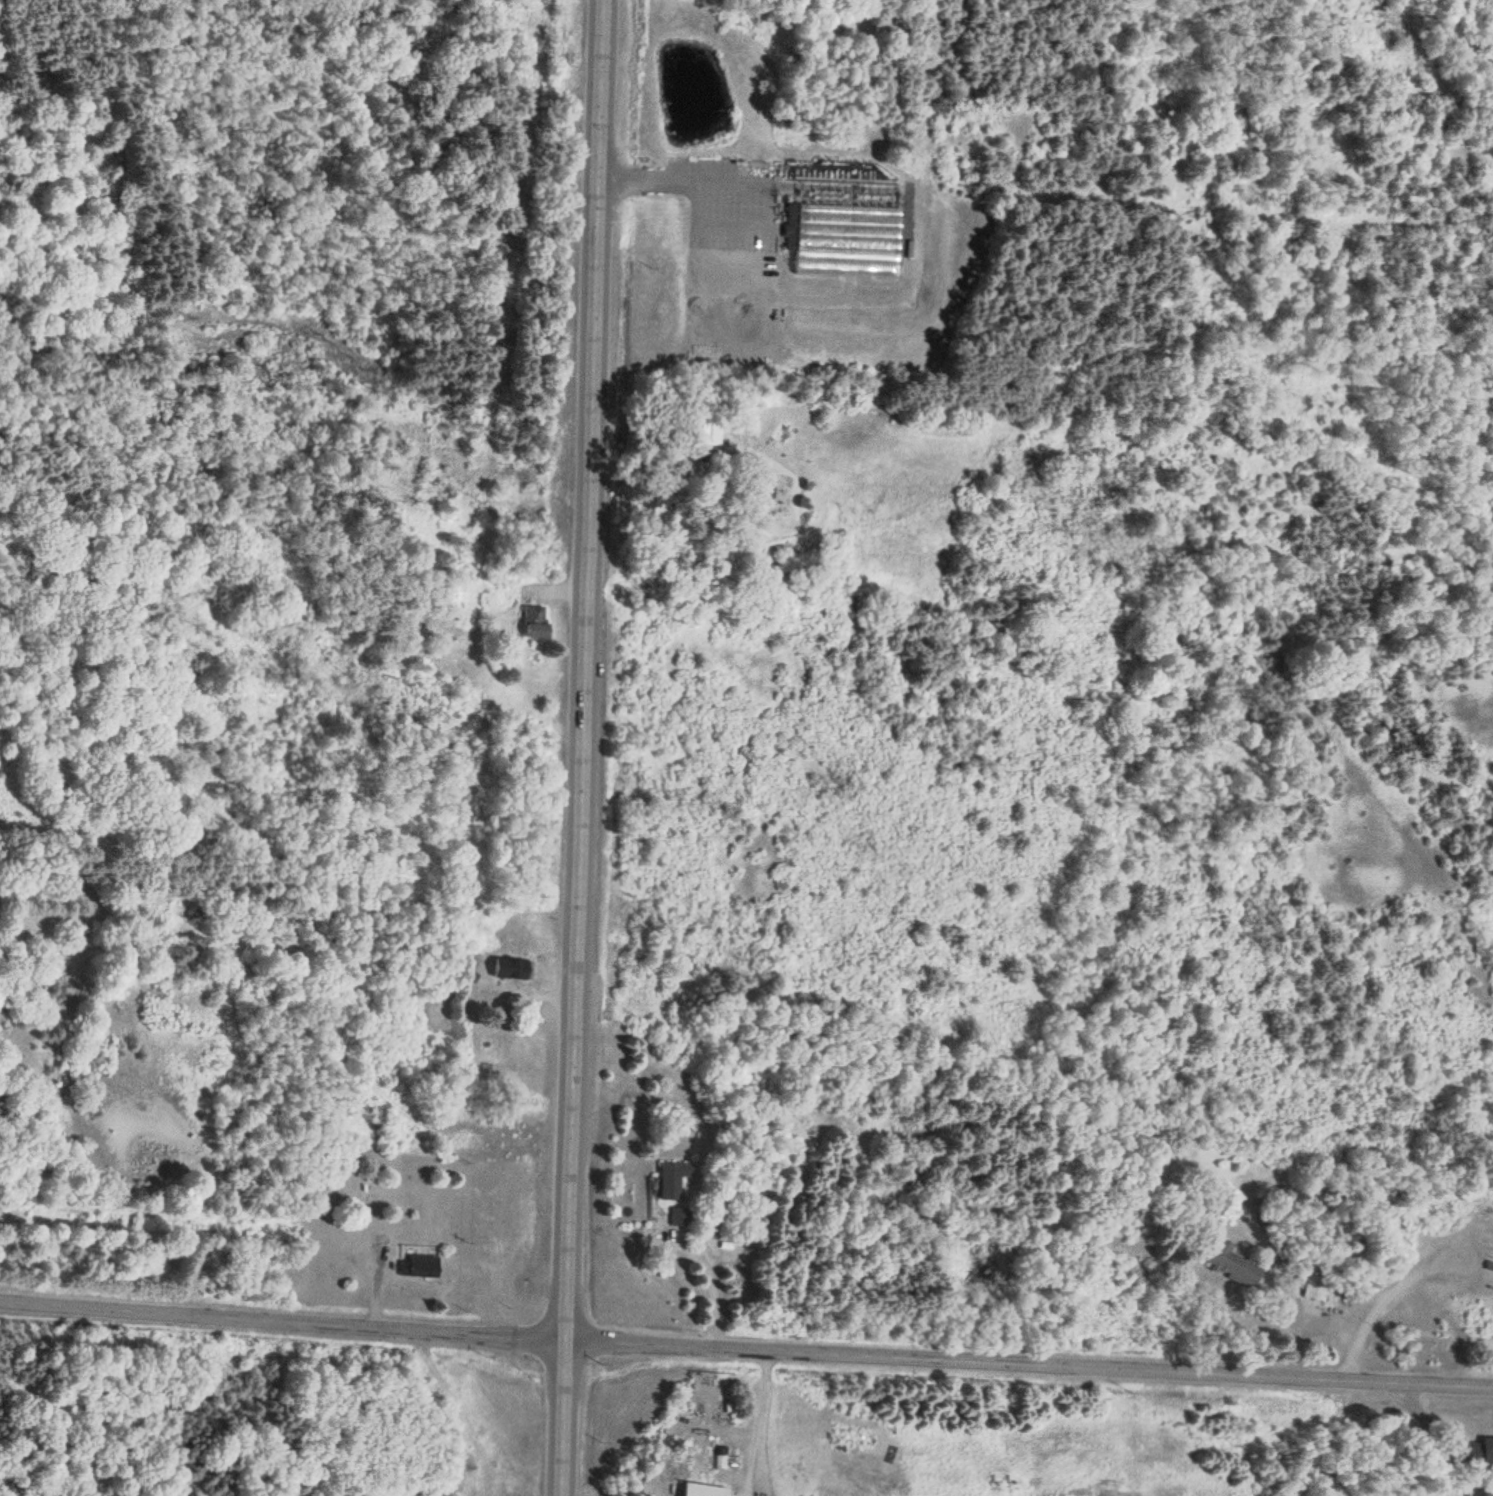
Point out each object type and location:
building: (851, 218)
road: (579, 747)
building: (512, 969)
building: (674, 1180)
building: (681, 1217)
building: (1230, 1264)
building: (418, 1270)
road: (375, 1287)
building: (1315, 1288)
road: (281, 1322)
road: (1028, 1363)
building: (1487, 1452)
building: (706, 1490)

